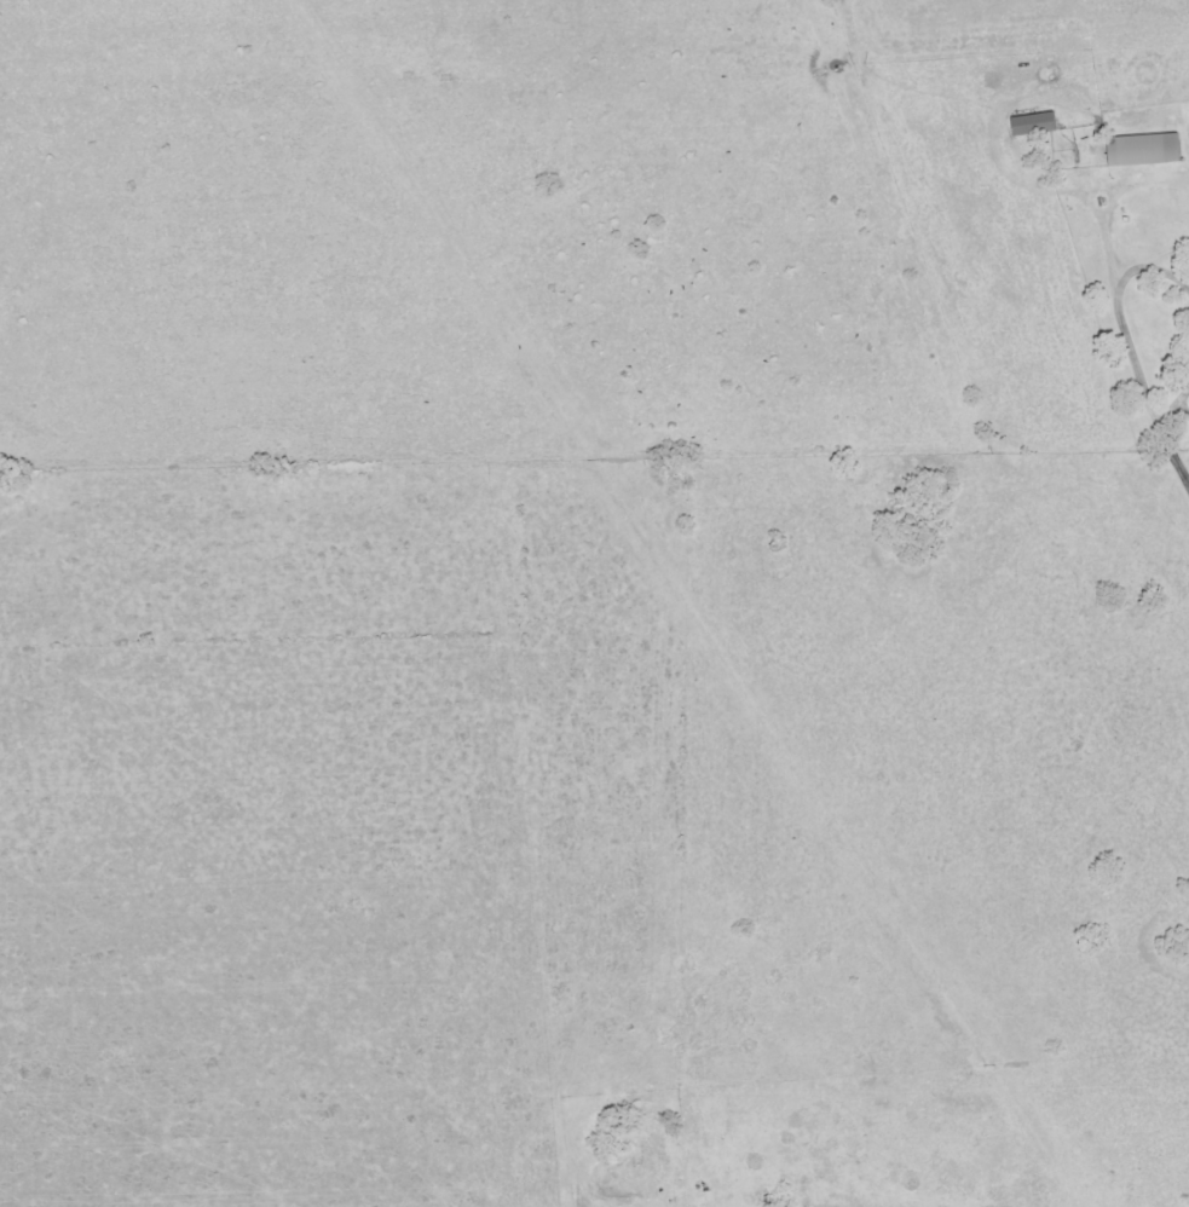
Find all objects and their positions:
building: (1029, 122)
building: (1138, 148)
road: (1130, 345)

